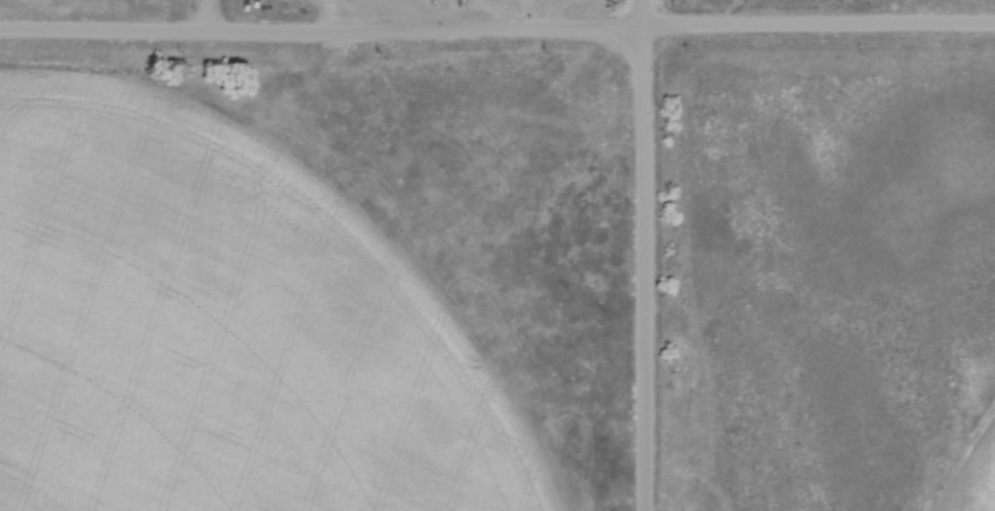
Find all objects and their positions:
road: (548, 14)
road: (497, 31)
road: (637, 255)

